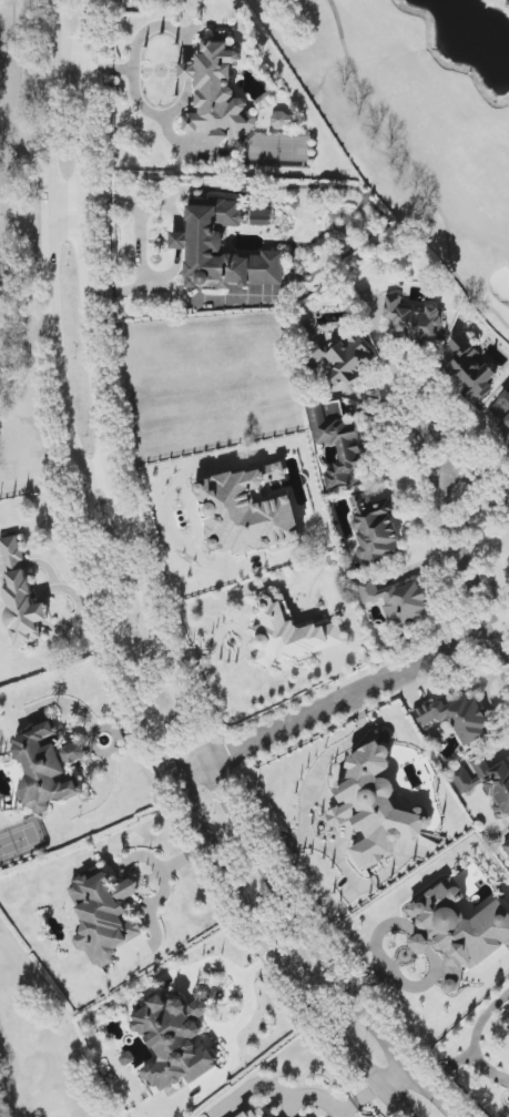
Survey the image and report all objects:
road: (139, 41)
road: (72, 53)
road: (190, 72)
building: (217, 95)
road: (156, 116)
park: (418, 119)
building: (281, 121)
road: (142, 202)
road: (68, 215)
building: (261, 217)
road: (180, 242)
building: (223, 251)
park: (19, 257)
road: (142, 286)
building: (413, 322)
building: (346, 361)
building: (469, 370)
building: (502, 415)
building: (338, 441)
road: (427, 466)
road: (90, 480)
building: (247, 512)
building: (376, 528)
building: (21, 596)
road: (106, 598)
road: (141, 600)
building: (398, 602)
building: (289, 634)
road: (332, 705)
building: (458, 719)
building: (74, 752)
building: (43, 770)
building: (488, 783)
building: (376, 808)
building: (506, 846)
building: (104, 917)
building: (459, 932)
road: (246, 987)
building: (506, 1019)
building: (174, 1042)
park: (41, 1044)
road: (474, 1044)
road: (487, 1068)
road: (393, 1077)
building: (256, 1111)

